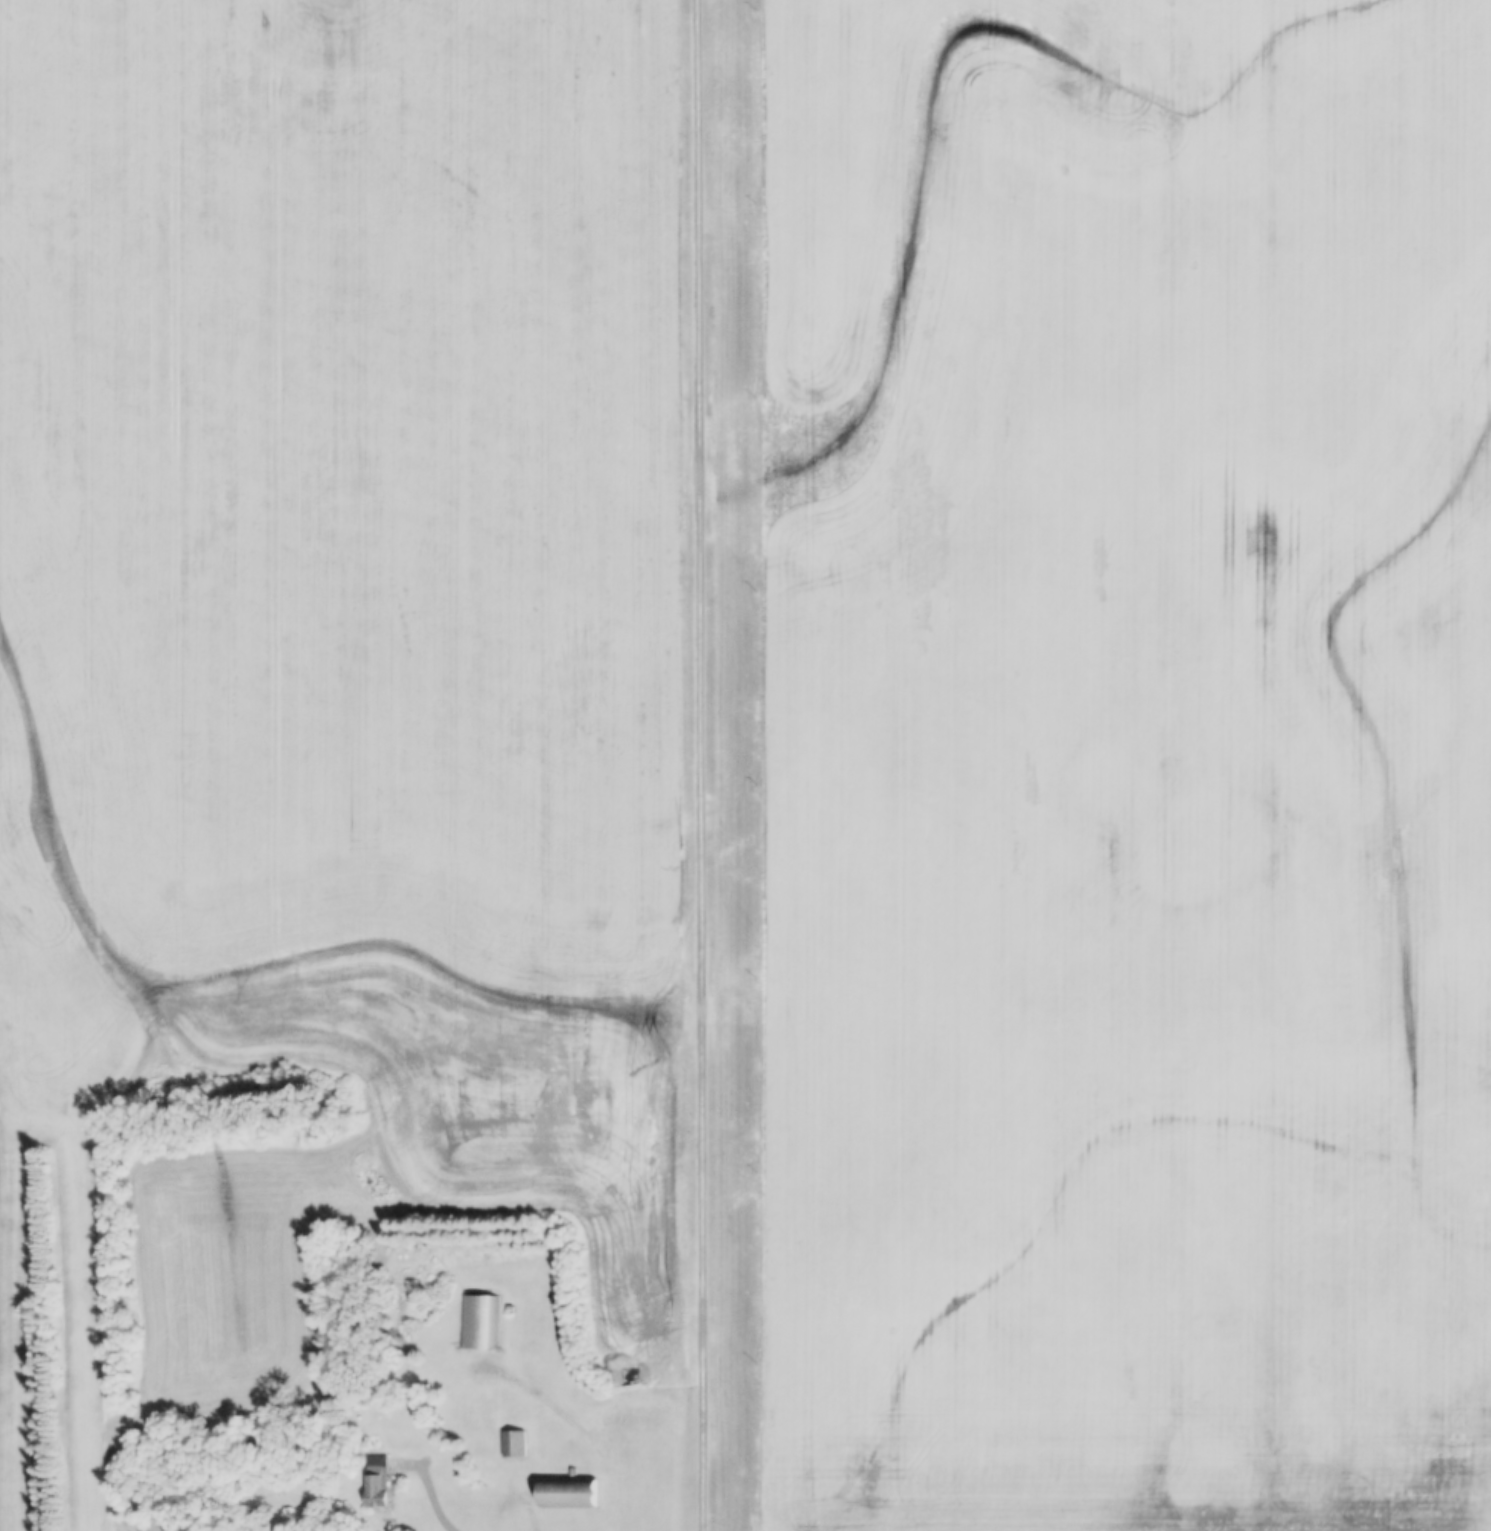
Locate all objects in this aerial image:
road: (699, 765)
building: (476, 1323)
road: (573, 1420)
building: (380, 1484)
building: (570, 1491)

